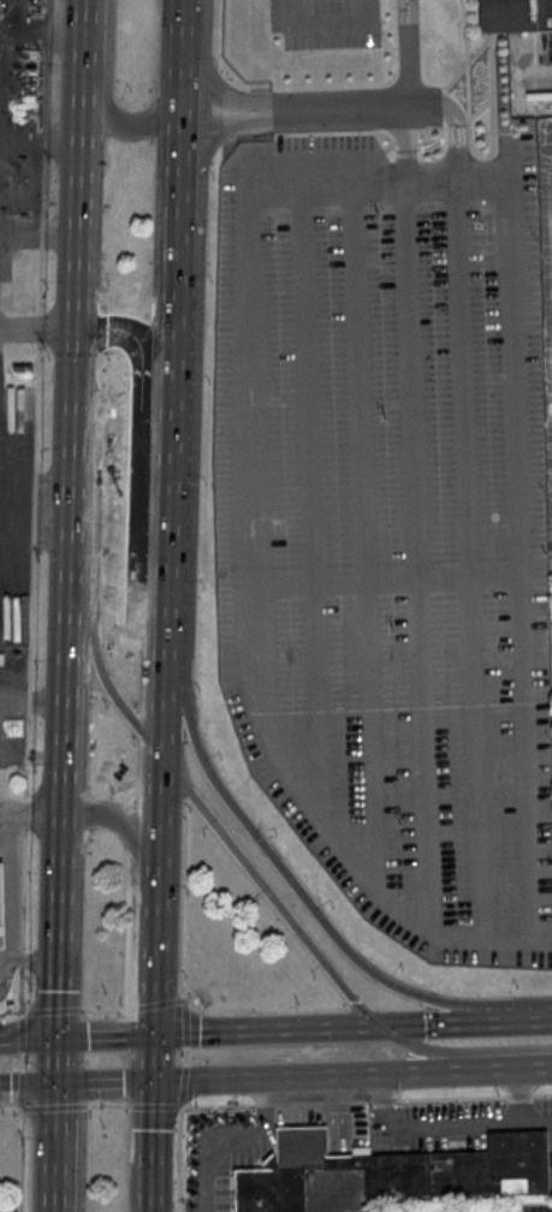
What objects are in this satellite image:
building: (516, 19)
parking lot: (321, 23)
road: (330, 25)
road: (465, 31)
road: (182, 49)
road: (450, 82)
road: (107, 96)
road: (437, 103)
road: (399, 106)
road: (284, 112)
road: (452, 120)
road: (492, 135)
road: (179, 136)
road: (451, 137)
road: (462, 137)
road: (404, 159)
road: (457, 160)
road: (458, 172)
road: (458, 183)
road: (452, 196)
road: (352, 200)
road: (299, 202)
road: (78, 204)
road: (37, 332)
road: (170, 396)
road: (36, 397)
street lamp: (207, 483)
road: (71, 491)
road: (138, 493)
road: (310, 518)
parking lot: (391, 527)
road: (363, 548)
road: (416, 571)
road: (468, 575)
road: (392, 580)
street lamp: (203, 584)
road: (160, 670)
street lamp: (198, 689)
road: (66, 696)
road: (159, 739)
street lamp: (19, 789)
road: (158, 802)
road: (25, 810)
road: (31, 810)
street lamp: (31, 874)
road: (12, 885)
road: (23, 890)
street lamp: (186, 892)
building: (1, 909)
road: (409, 921)
road: (59, 928)
road: (154, 940)
road: (6, 956)
road: (20, 958)
road: (35, 962)
street lamp: (185, 976)
street lamp: (31, 985)
road: (20, 990)
road: (184, 993)
road: (189, 998)
road: (152, 1003)
street lamp: (297, 1004)
road: (12, 1010)
road: (52, 1010)
road: (99, 1010)
street lamp: (11, 1014)
street lamp: (203, 1016)
road: (516, 1017)
road: (184, 1022)
road: (429, 1023)
traffic signals: (378, 1028)
road: (263, 1030)
road: (20, 1033)
traffic signals: (152, 1035)
road: (103, 1036)
road: (28, 1039)
traffic signals: (55, 1039)
road: (185, 1054)
street lamp: (180, 1056)
street lamp: (28, 1059)
road: (150, 1059)
road: (22, 1060)
road: (55, 1062)
road: (504, 1067)
road: (302, 1076)
traffic signals: (149, 1083)
road: (102, 1085)
road: (182, 1085)
traffic signals: (57, 1086)
road: (28, 1087)
road: (18, 1088)
road: (366, 1100)
street lamp: (195, 1103)
road: (101, 1104)
road: (153, 1106)
road: (47, 1107)
road: (8, 1109)
road: (19, 1111)
street lamp: (176, 1130)
street lamp: (25, 1143)
road: (149, 1147)
road: (57, 1148)
road: (178, 1157)
road: (209, 1157)
building: (387, 1171)
road: (178, 1210)

